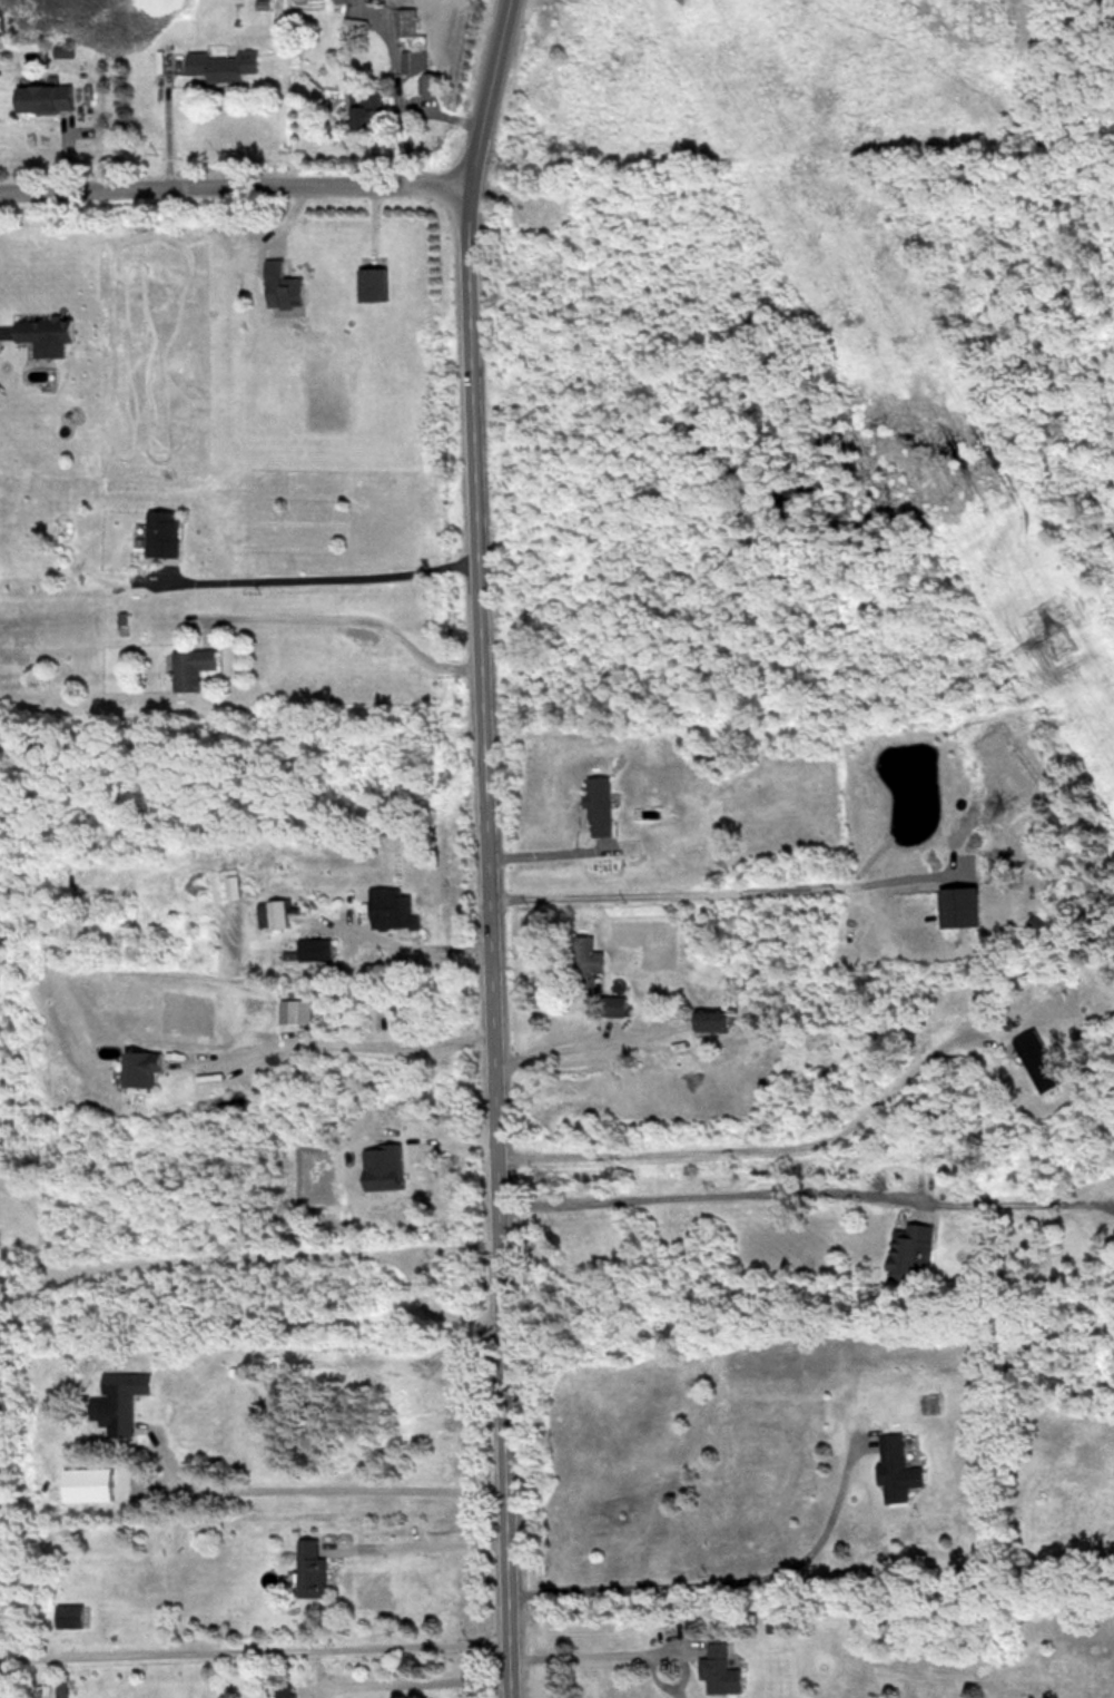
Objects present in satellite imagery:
building: (351, 1)
building: (406, 21)
building: (221, 66)
building: (418, 70)
road: (487, 91)
building: (45, 98)
building: (367, 108)
road: (235, 186)
building: (373, 285)
building: (284, 286)
road: (2, 330)
building: (43, 331)
park: (818, 413)
building: (162, 534)
road: (319, 572)
road: (355, 610)
power tower: (1064, 647)
building: (191, 668)
building: (600, 806)
road: (674, 899)
building: (395, 912)
road: (483, 941)
road: (407, 946)
building: (315, 950)
building: (584, 962)
building: (614, 1005)
building: (712, 1020)
road: (334, 1051)
road: (554, 1058)
building: (1038, 1060)
building: (141, 1067)
road: (749, 1141)
road: (691, 1207)
building: (909, 1252)
building: (118, 1402)
building: (896, 1469)
road: (335, 1490)
road: (414, 1545)
building: (310, 1570)
road: (719, 1586)
building: (69, 1616)
road: (252, 1651)
road: (576, 1656)
building: (720, 1671)
road: (407, 1684)
building: (61, 1688)
building: (286, 1696)

